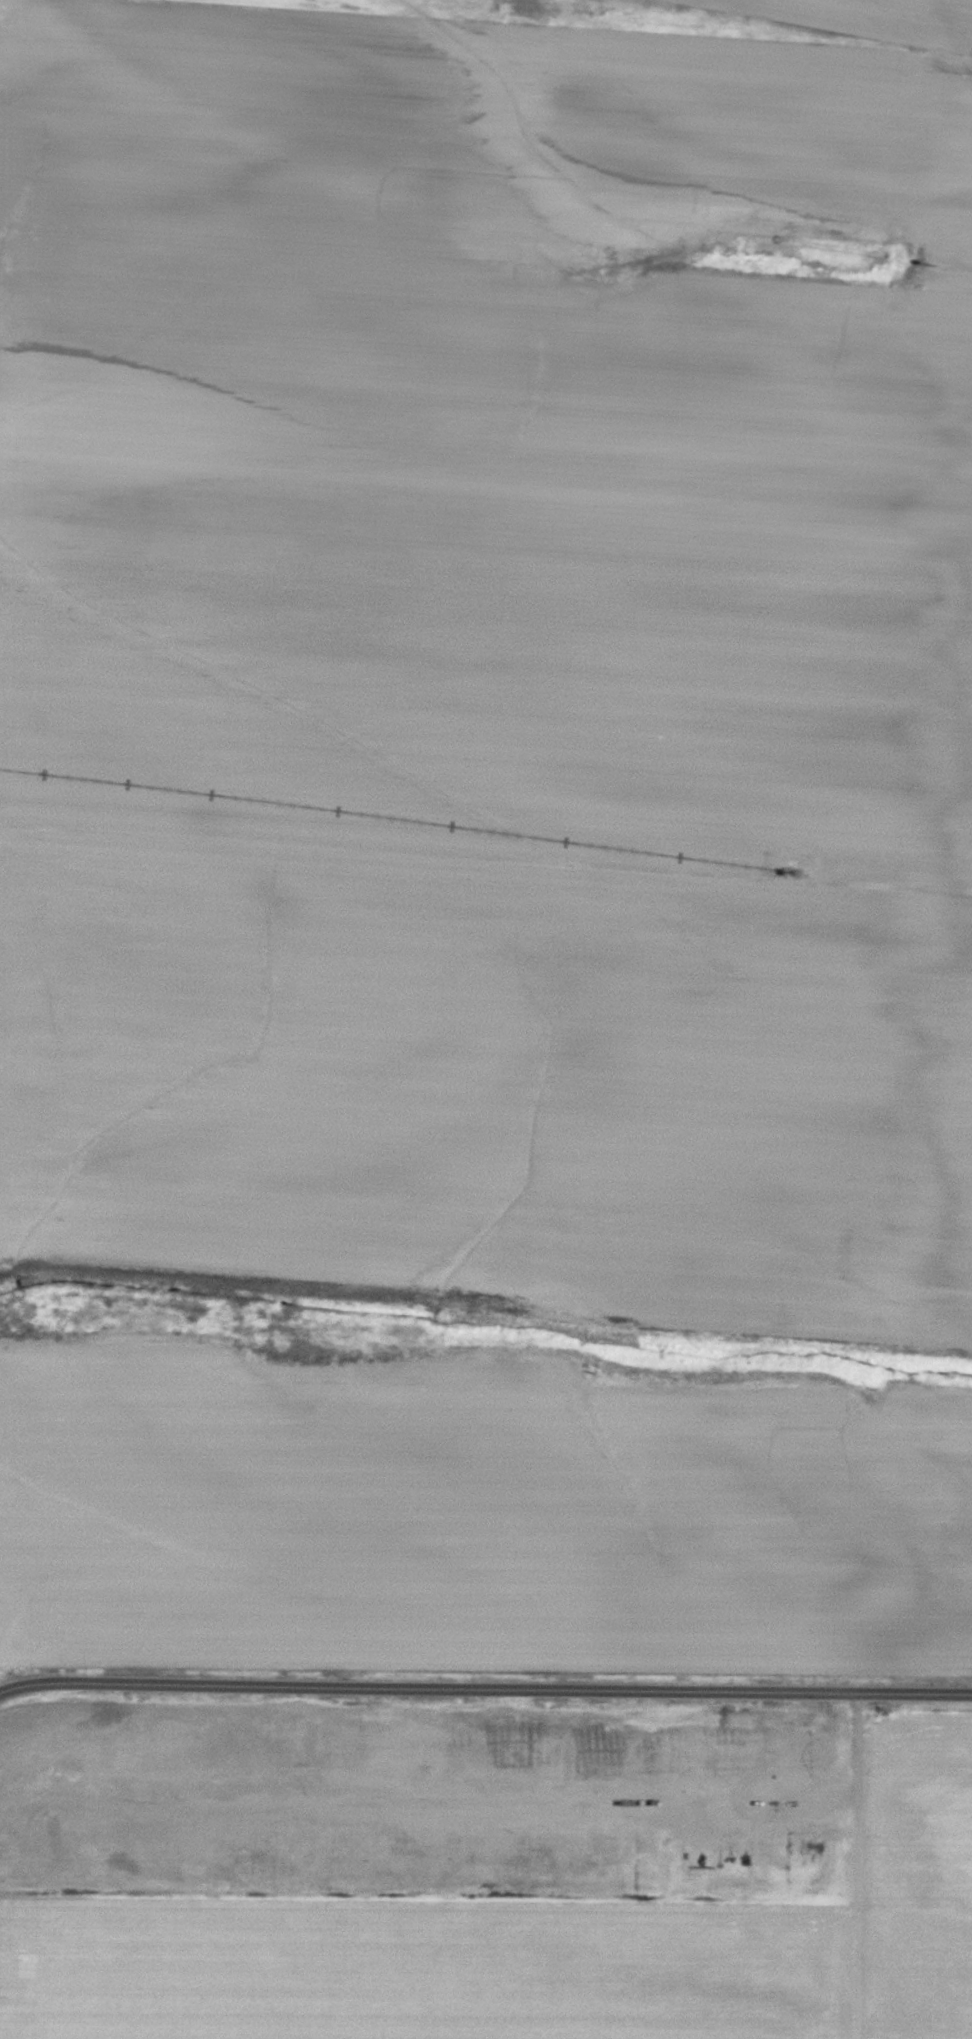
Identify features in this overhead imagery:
road: (485, 1691)

